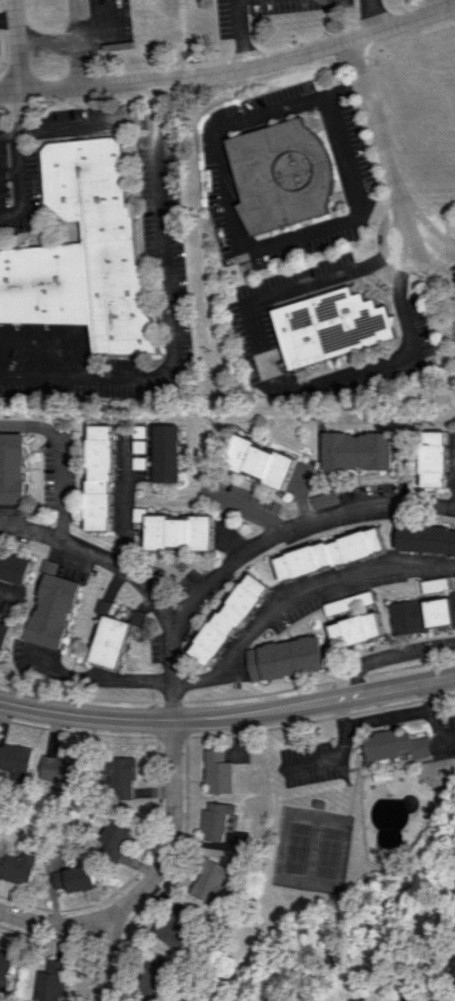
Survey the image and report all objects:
road: (435, 6)
road: (371, 16)
road: (8, 19)
road: (238, 35)
road: (18, 46)
road: (231, 71)
road: (235, 118)
road: (75, 123)
road: (383, 142)
road: (17, 161)
building: (278, 174)
road: (434, 245)
building: (85, 252)
road: (172, 309)
building: (331, 326)
road: (268, 379)
building: (356, 451)
building: (164, 453)
building: (432, 458)
road: (60, 459)
building: (257, 461)
building: (11, 468)
building: (97, 477)
building: (322, 499)
road: (242, 509)
road: (295, 529)
building: (173, 531)
building: (425, 539)
building: (328, 553)
building: (13, 568)
road: (133, 583)
building: (433, 584)
road: (293, 593)
road: (5, 594)
building: (346, 603)
building: (51, 607)
building: (421, 614)
building: (135, 617)
building: (226, 618)
building: (354, 629)
building: (3, 634)
building: (108, 637)
road: (393, 657)
building: (283, 658)
road: (99, 681)
road: (426, 696)
road: (228, 711)
road: (340, 712)
road: (365, 723)
building: (394, 745)
building: (16, 760)
building: (62, 767)
building: (218, 771)
building: (216, 820)
road: (171, 824)
building: (116, 836)
building: (16, 867)
building: (73, 878)
building: (212, 880)
road: (59, 922)
building: (176, 925)
road: (105, 955)
building: (4, 968)
building: (452, 971)
building: (156, 976)
building: (51, 981)

